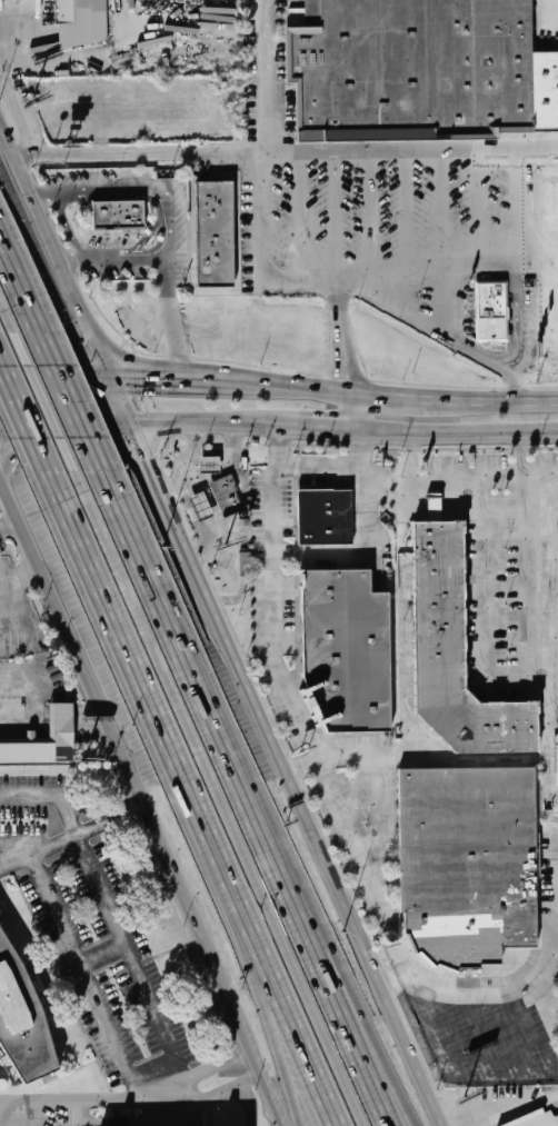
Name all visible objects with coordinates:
building: (82, 22)
building: (420, 71)
road: (270, 76)
road: (288, 152)
road: (143, 187)
road: (43, 191)
road: (554, 209)
road: (477, 210)
road: (519, 210)
road: (440, 211)
road: (335, 212)
road: (369, 212)
road: (405, 212)
building: (120, 213)
road: (299, 216)
road: (68, 228)
building: (213, 235)
road: (57, 249)
road: (168, 267)
road: (346, 273)
road: (20, 289)
road: (340, 300)
road: (393, 305)
building: (491, 311)
road: (8, 317)
road: (555, 323)
road: (517, 325)
road: (465, 346)
road: (51, 351)
road: (350, 360)
road: (538, 378)
road: (56, 380)
traffic signals: (142, 380)
road: (148, 380)
road: (193, 380)
road: (220, 381)
road: (297, 386)
road: (437, 396)
road: (537, 399)
road: (46, 402)
road: (70, 402)
road: (360, 410)
road: (23, 418)
road: (146, 421)
road: (66, 422)
traffic signals: (103, 422)
road: (205, 422)
road: (268, 424)
road: (133, 426)
road: (326, 426)
road: (459, 431)
road: (74, 447)
road: (515, 457)
building: (209, 465)
gas station: (209, 465)
road: (340, 476)
road: (412, 482)
road: (486, 482)
building: (227, 496)
road: (170, 507)
building: (201, 507)
gas station: (201, 507)
building: (325, 518)
road: (10, 529)
building: (243, 568)
road: (550, 595)
road: (273, 617)
road: (116, 624)
building: (348, 650)
building: (455, 655)
road: (504, 675)
building: (62, 724)
building: (557, 747)
road: (53, 794)
road: (247, 797)
road: (220, 798)
road: (139, 803)
road: (316, 833)
road: (71, 843)
road: (550, 846)
building: (467, 861)
road: (548, 890)
road: (242, 950)
road: (259, 950)
road: (137, 968)
road: (91, 986)
road: (492, 995)
road: (355, 1005)
building: (23, 1018)
parking lot: (490, 1022)
road: (430, 1027)
road: (524, 1034)
road: (479, 1035)
road: (205, 1070)
building: (4, 1072)
building: (4, 1083)
road: (215, 1095)
road: (82, 1102)
road: (250, 1103)
road: (39, 1114)
building: (535, 1119)

